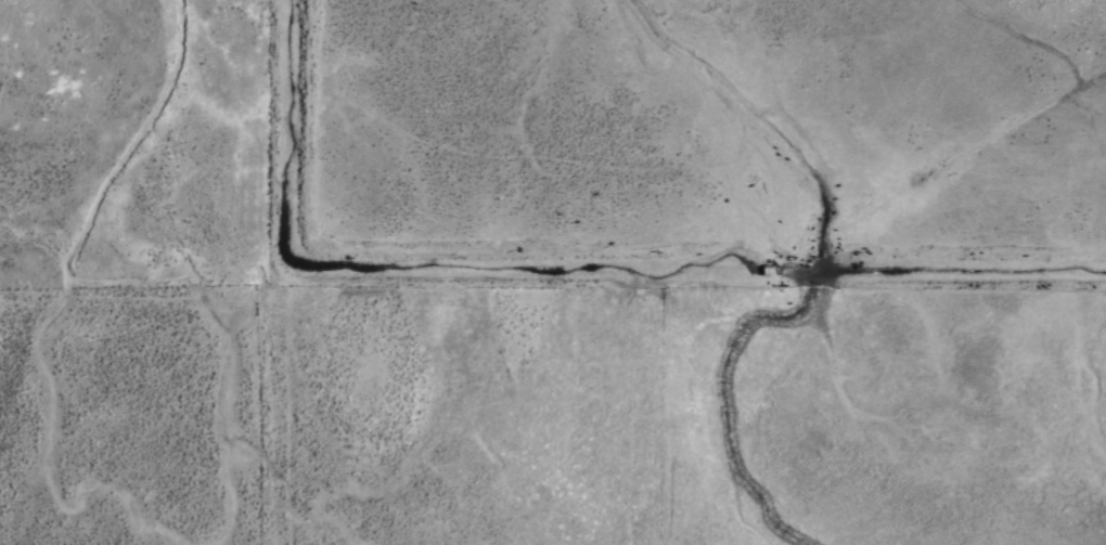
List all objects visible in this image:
crop: (553, 272)

